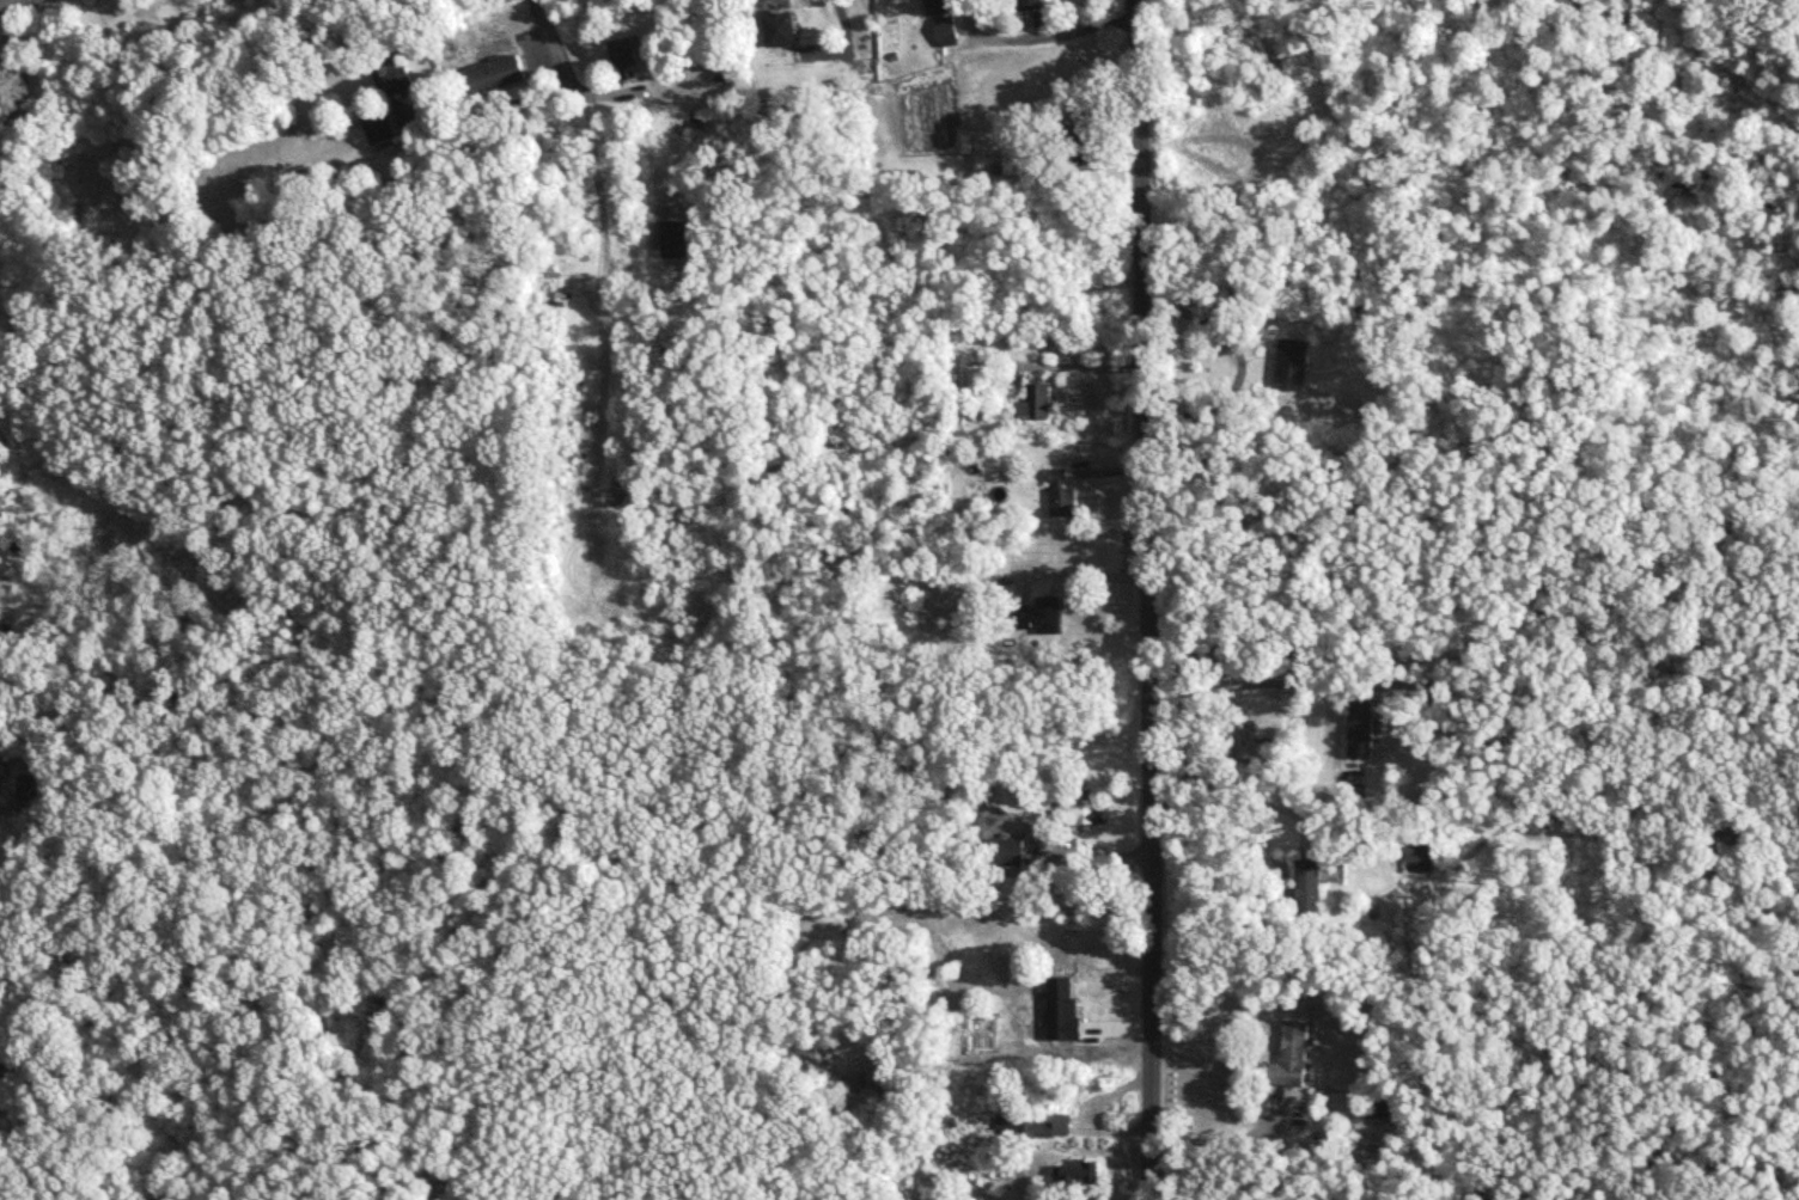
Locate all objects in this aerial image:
road: (7, 2)
building: (1035, 5)
building: (950, 30)
building: (786, 32)
road: (1056, 33)
building: (465, 45)
building: (629, 59)
building: (0, 60)
building: (496, 78)
building: (398, 80)
building: (379, 125)
building: (1079, 129)
road: (400, 143)
road: (592, 153)
building: (1023, 163)
building: (1298, 363)
road: (1239, 374)
building: (981, 382)
building: (1041, 403)
building: (1061, 478)
building: (1065, 502)
building: (22, 547)
road: (1075, 573)
road: (1147, 599)
building: (1048, 616)
building: (1364, 730)
building: (0, 766)
building: (980, 794)
road: (1258, 806)
building: (1078, 812)
building: (1008, 851)
building: (1423, 858)
building: (1311, 889)
building: (1014, 997)
building: (1088, 999)
building: (1295, 1057)
building: (2, 1075)
building: (1037, 1129)
road: (1238, 1143)
building: (1079, 1175)

